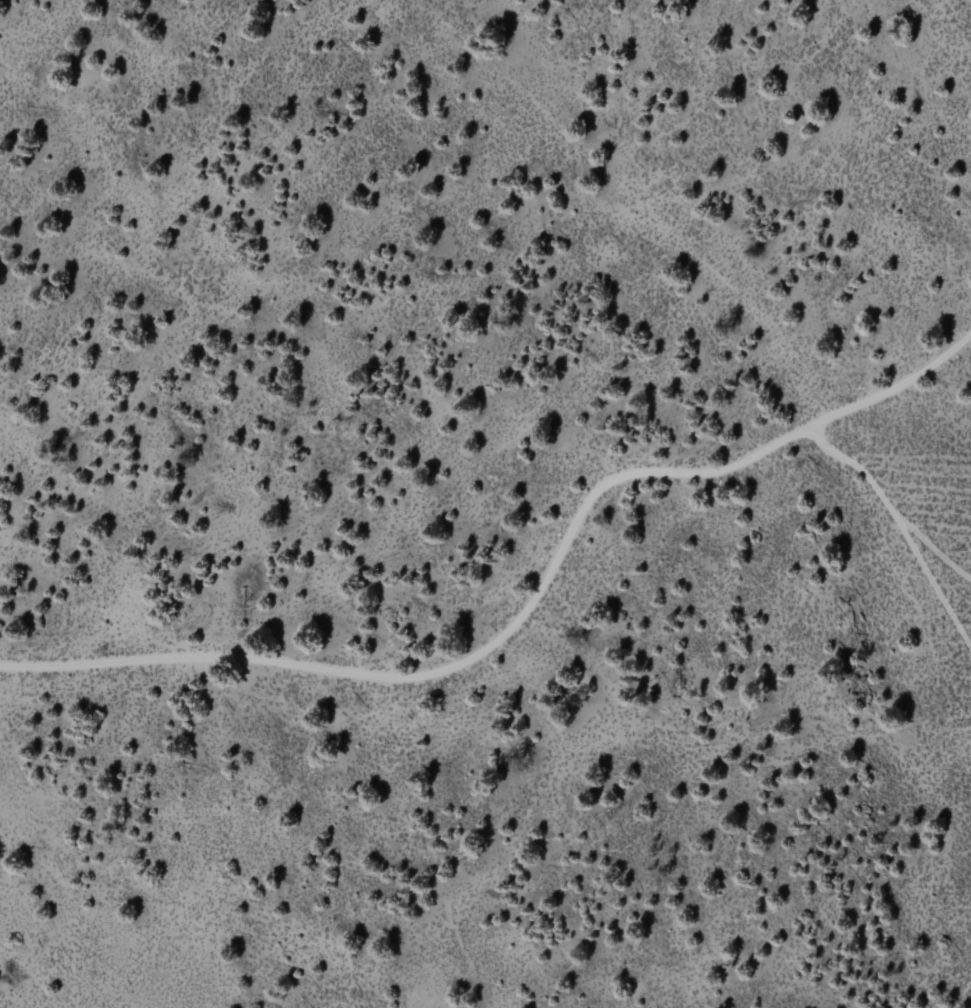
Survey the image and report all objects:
road: (721, 272)
road: (936, 581)
road: (531, 621)

